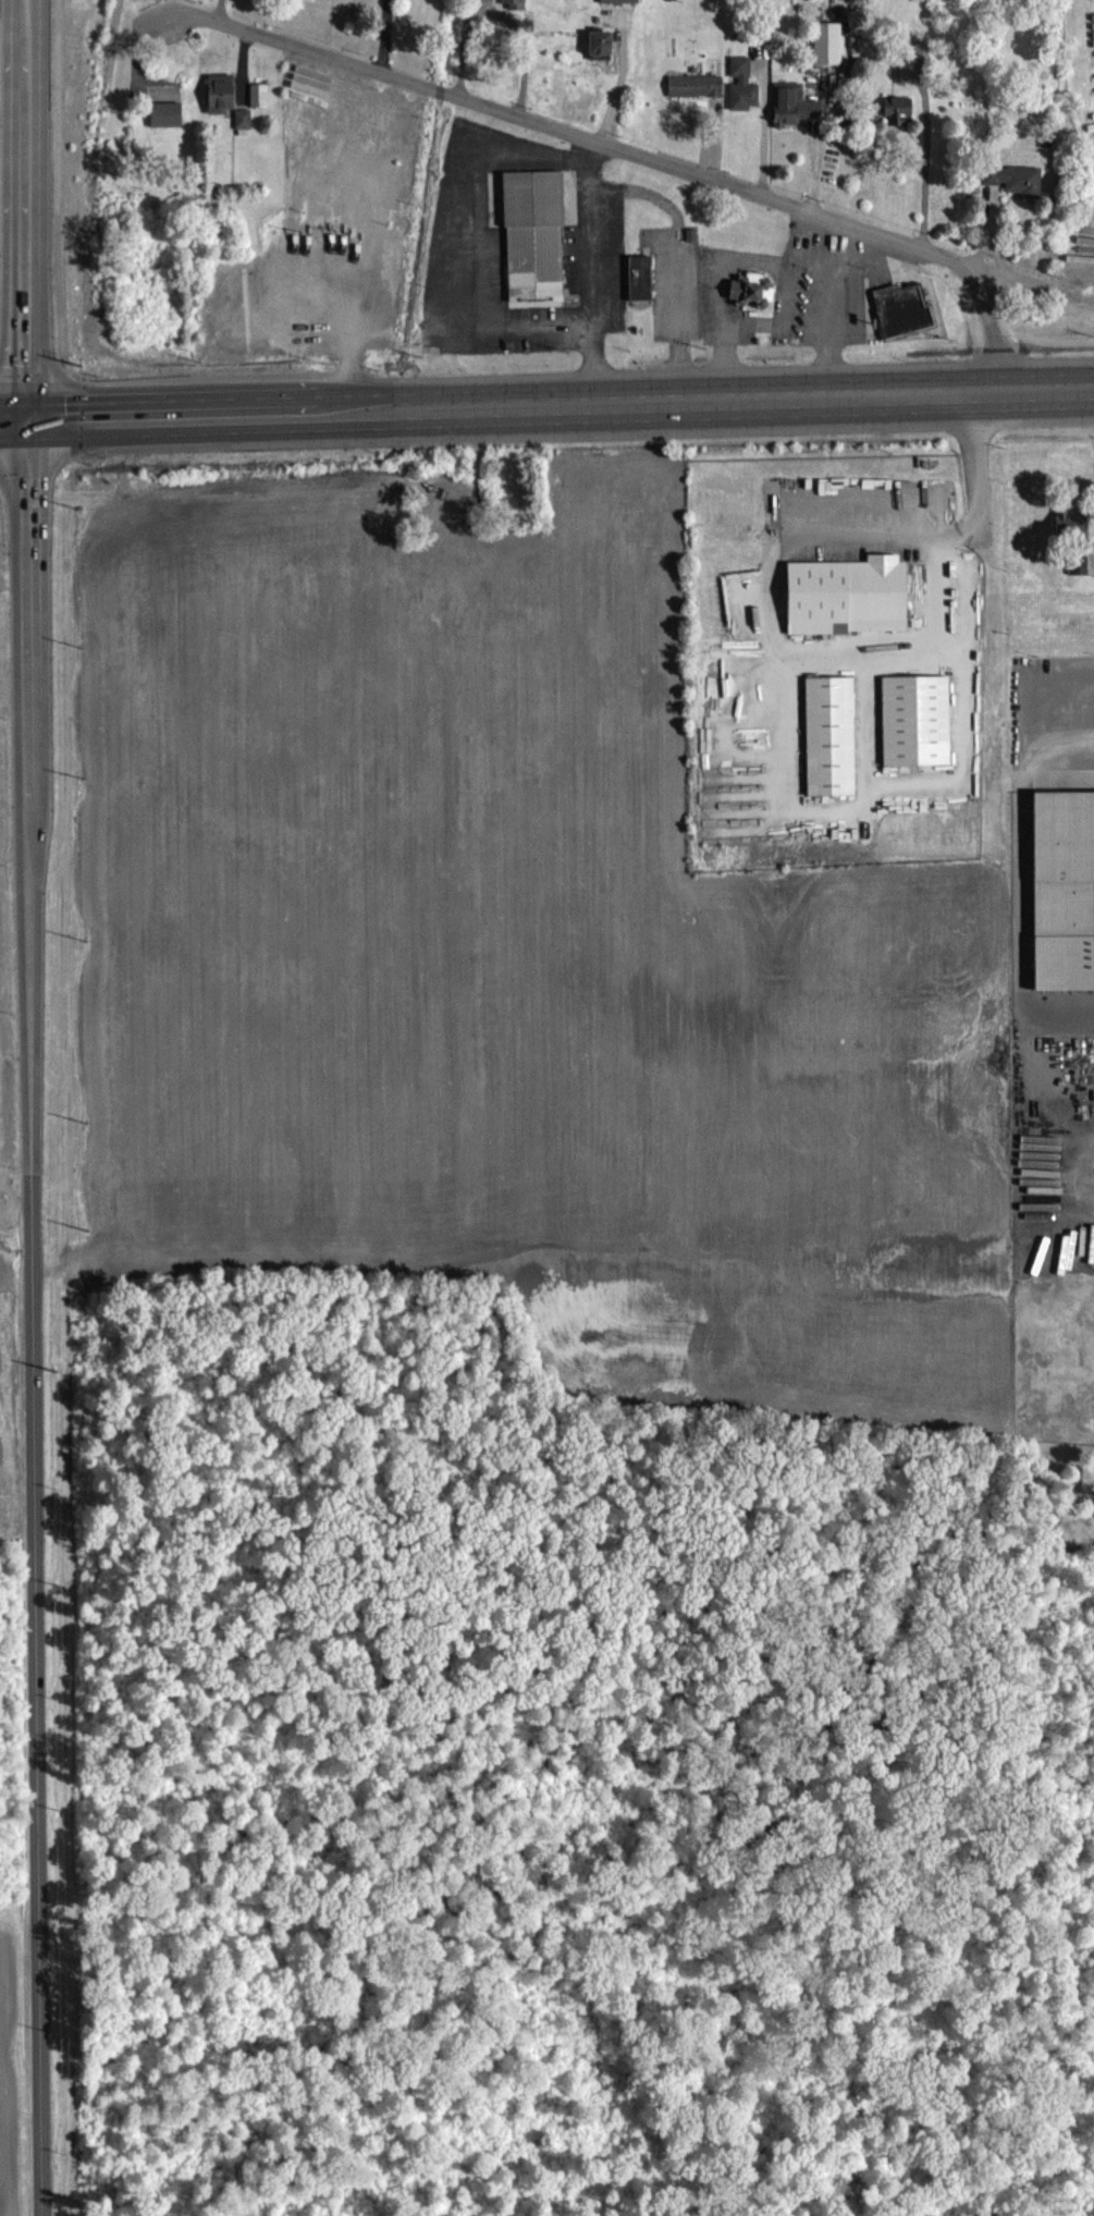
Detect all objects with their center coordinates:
building: (614, 0)
building: (515, 9)
building: (598, 42)
building: (825, 42)
building: (739, 83)
building: (692, 84)
building: (697, 96)
building: (222, 102)
building: (790, 103)
building: (260, 105)
building: (895, 108)
building: (897, 120)
building: (167, 124)
building: (244, 128)
road: (630, 154)
road: (924, 157)
building: (1011, 177)
road: (23, 208)
road: (59, 208)
building: (532, 233)
road: (679, 268)
road: (595, 272)
road: (716, 273)
building: (638, 277)
road: (1030, 283)
building: (748, 289)
road: (833, 307)
building: (900, 308)
road: (546, 403)
traffic signals: (23, 417)
road: (979, 524)
building: (1069, 525)
building: (1075, 565)
building: (1079, 575)
building: (845, 593)
building: (913, 719)
building: (827, 734)
building: (1061, 887)
road: (37, 1317)

